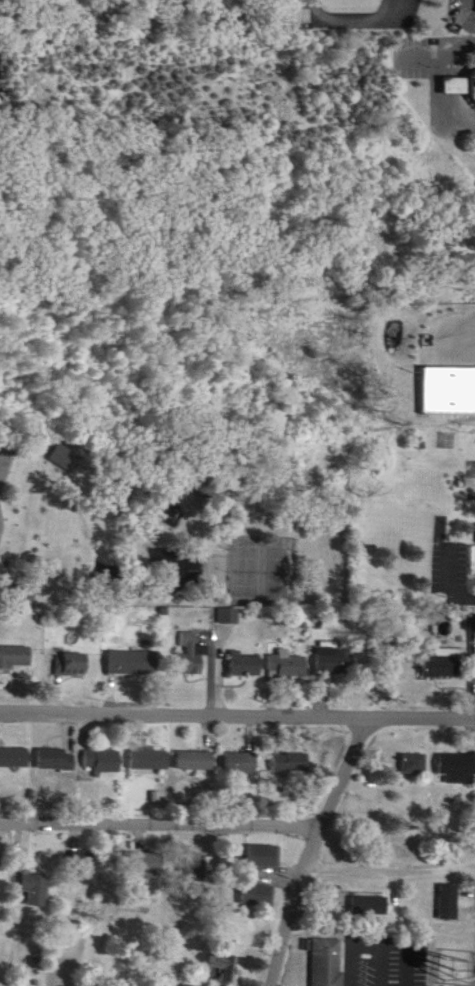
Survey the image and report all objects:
road: (442, 85)
building: (460, 88)
road: (463, 337)
park: (177, 361)
park: (6, 451)
park: (263, 561)
park: (218, 565)
building: (20, 579)
park: (20, 579)
road: (453, 580)
building: (16, 657)
building: (134, 663)
building: (190, 663)
building: (337, 663)
building: (443, 663)
building: (73, 665)
building: (246, 666)
building: (287, 666)
road: (237, 705)
building: (15, 759)
building: (57, 760)
building: (150, 760)
building: (104, 762)
building: (197, 762)
building: (291, 763)
building: (242, 764)
building: (412, 765)
building: (457, 769)
road: (163, 811)
road: (316, 845)
building: (396, 852)
building: (264, 857)
road: (393, 861)
building: (150, 864)
building: (89, 869)
building: (194, 872)
building: (38, 890)
building: (259, 896)
building: (447, 903)
building: (370, 907)
building: (328, 963)
building: (223, 968)
building: (188, 985)

